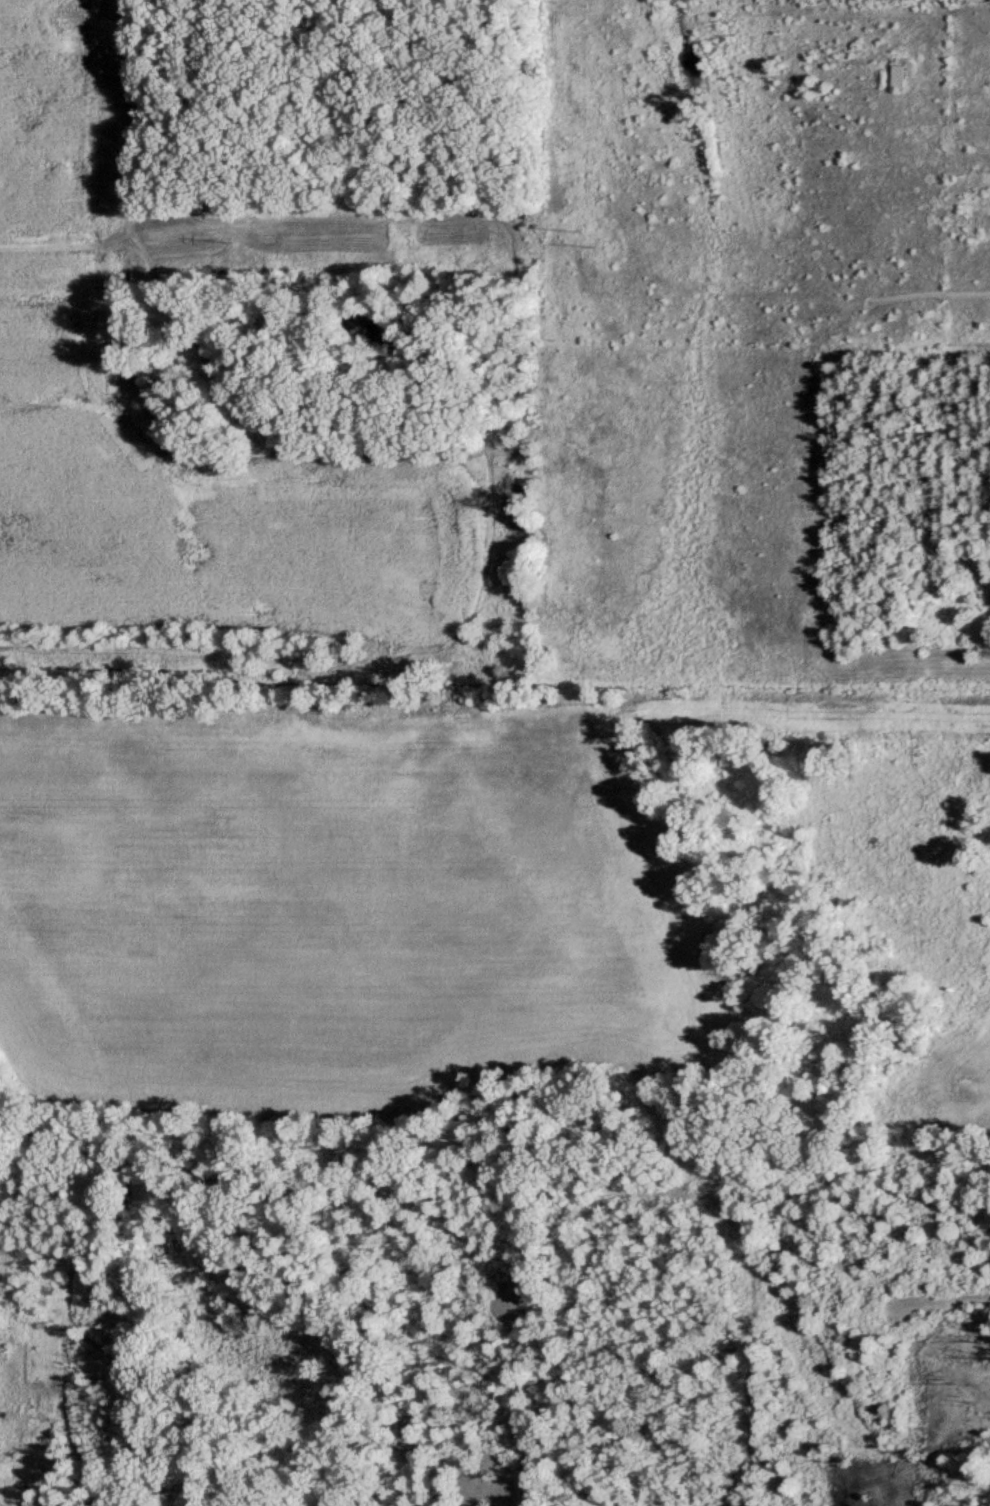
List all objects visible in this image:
building: (899, 77)

